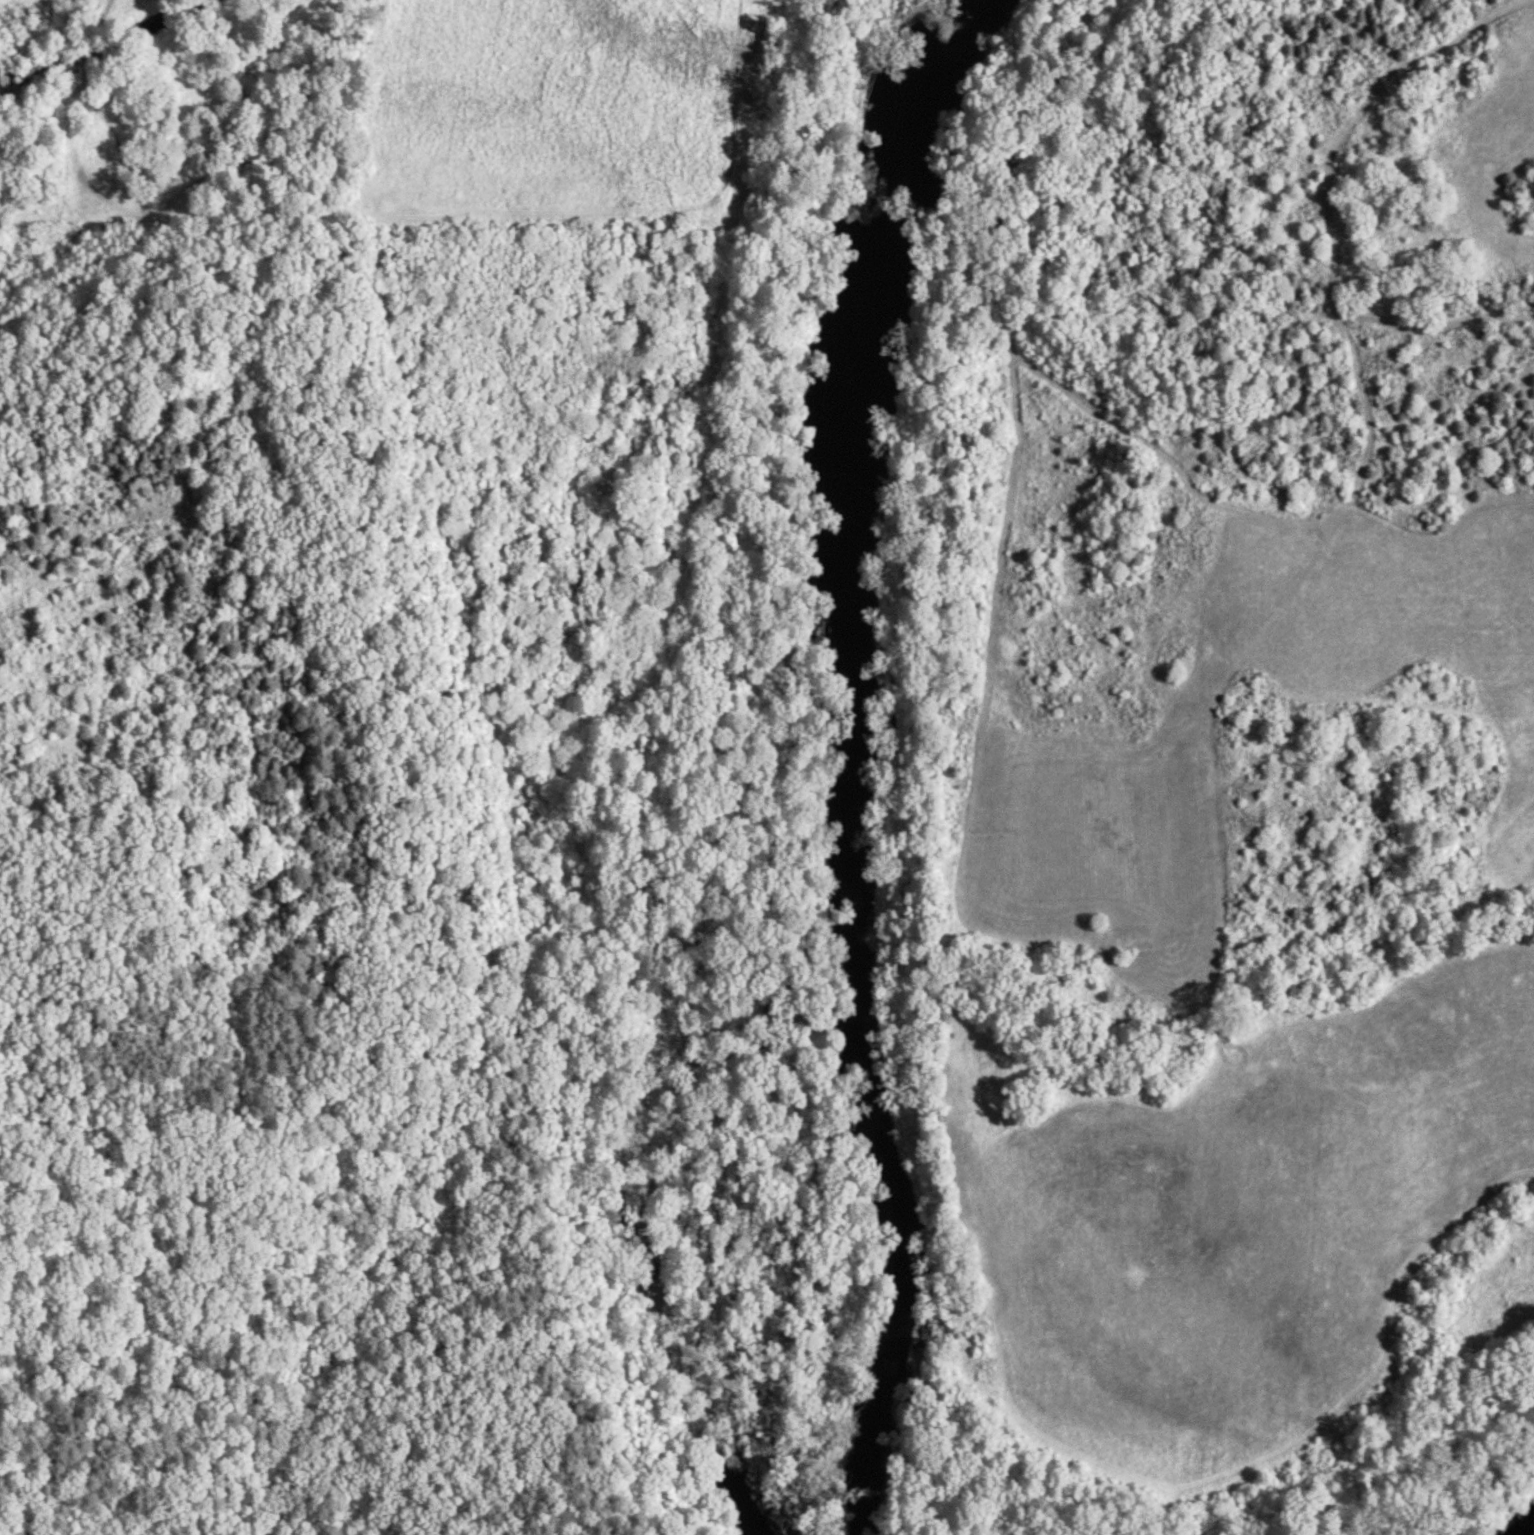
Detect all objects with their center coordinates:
road: (60, 126)
river: (845, 752)
river: (1530, 1532)

